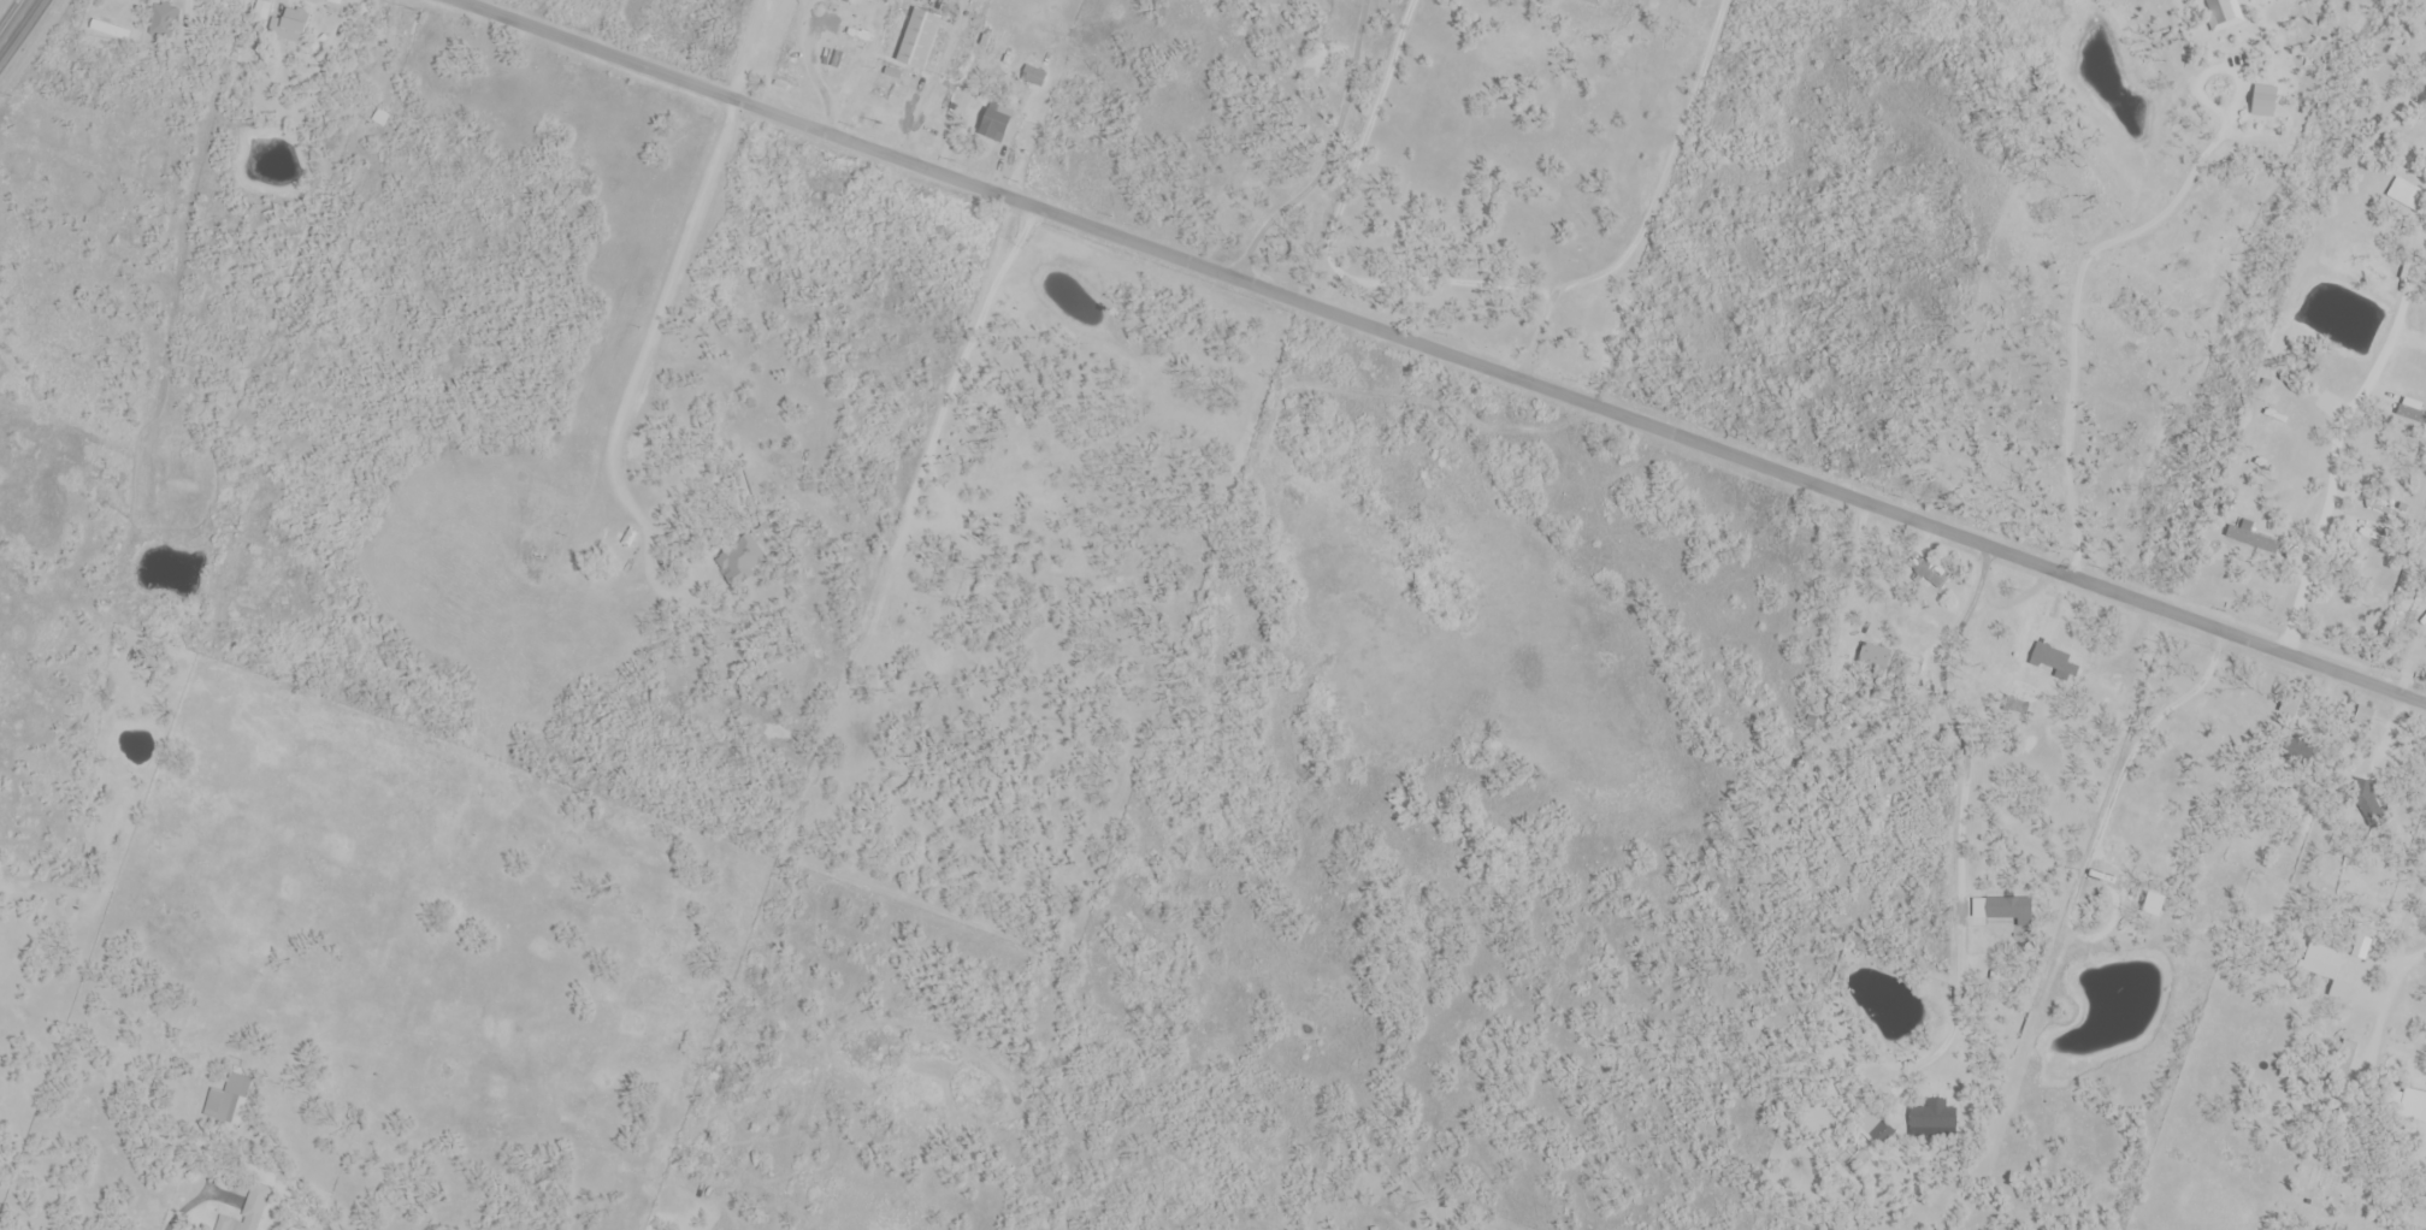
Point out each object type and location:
building: (1594, 2)
road: (16, 22)
building: (165, 22)
building: (287, 29)
building: (921, 34)
building: (1034, 77)
road: (931, 81)
building: (998, 125)
road: (1666, 168)
building: (2401, 195)
road: (1326, 241)
road: (2096, 246)
road: (1535, 335)
road: (1442, 349)
road: (2333, 456)
building: (740, 557)
building: (535, 564)
building: (1922, 569)
building: (899, 620)
building: (1875, 657)
building: (2055, 661)
building: (2363, 716)
building: (2365, 796)
road: (1961, 818)
building: (2007, 909)
building: (2410, 1104)
building: (1935, 1119)
building: (1883, 1133)
building: (247, 1216)

